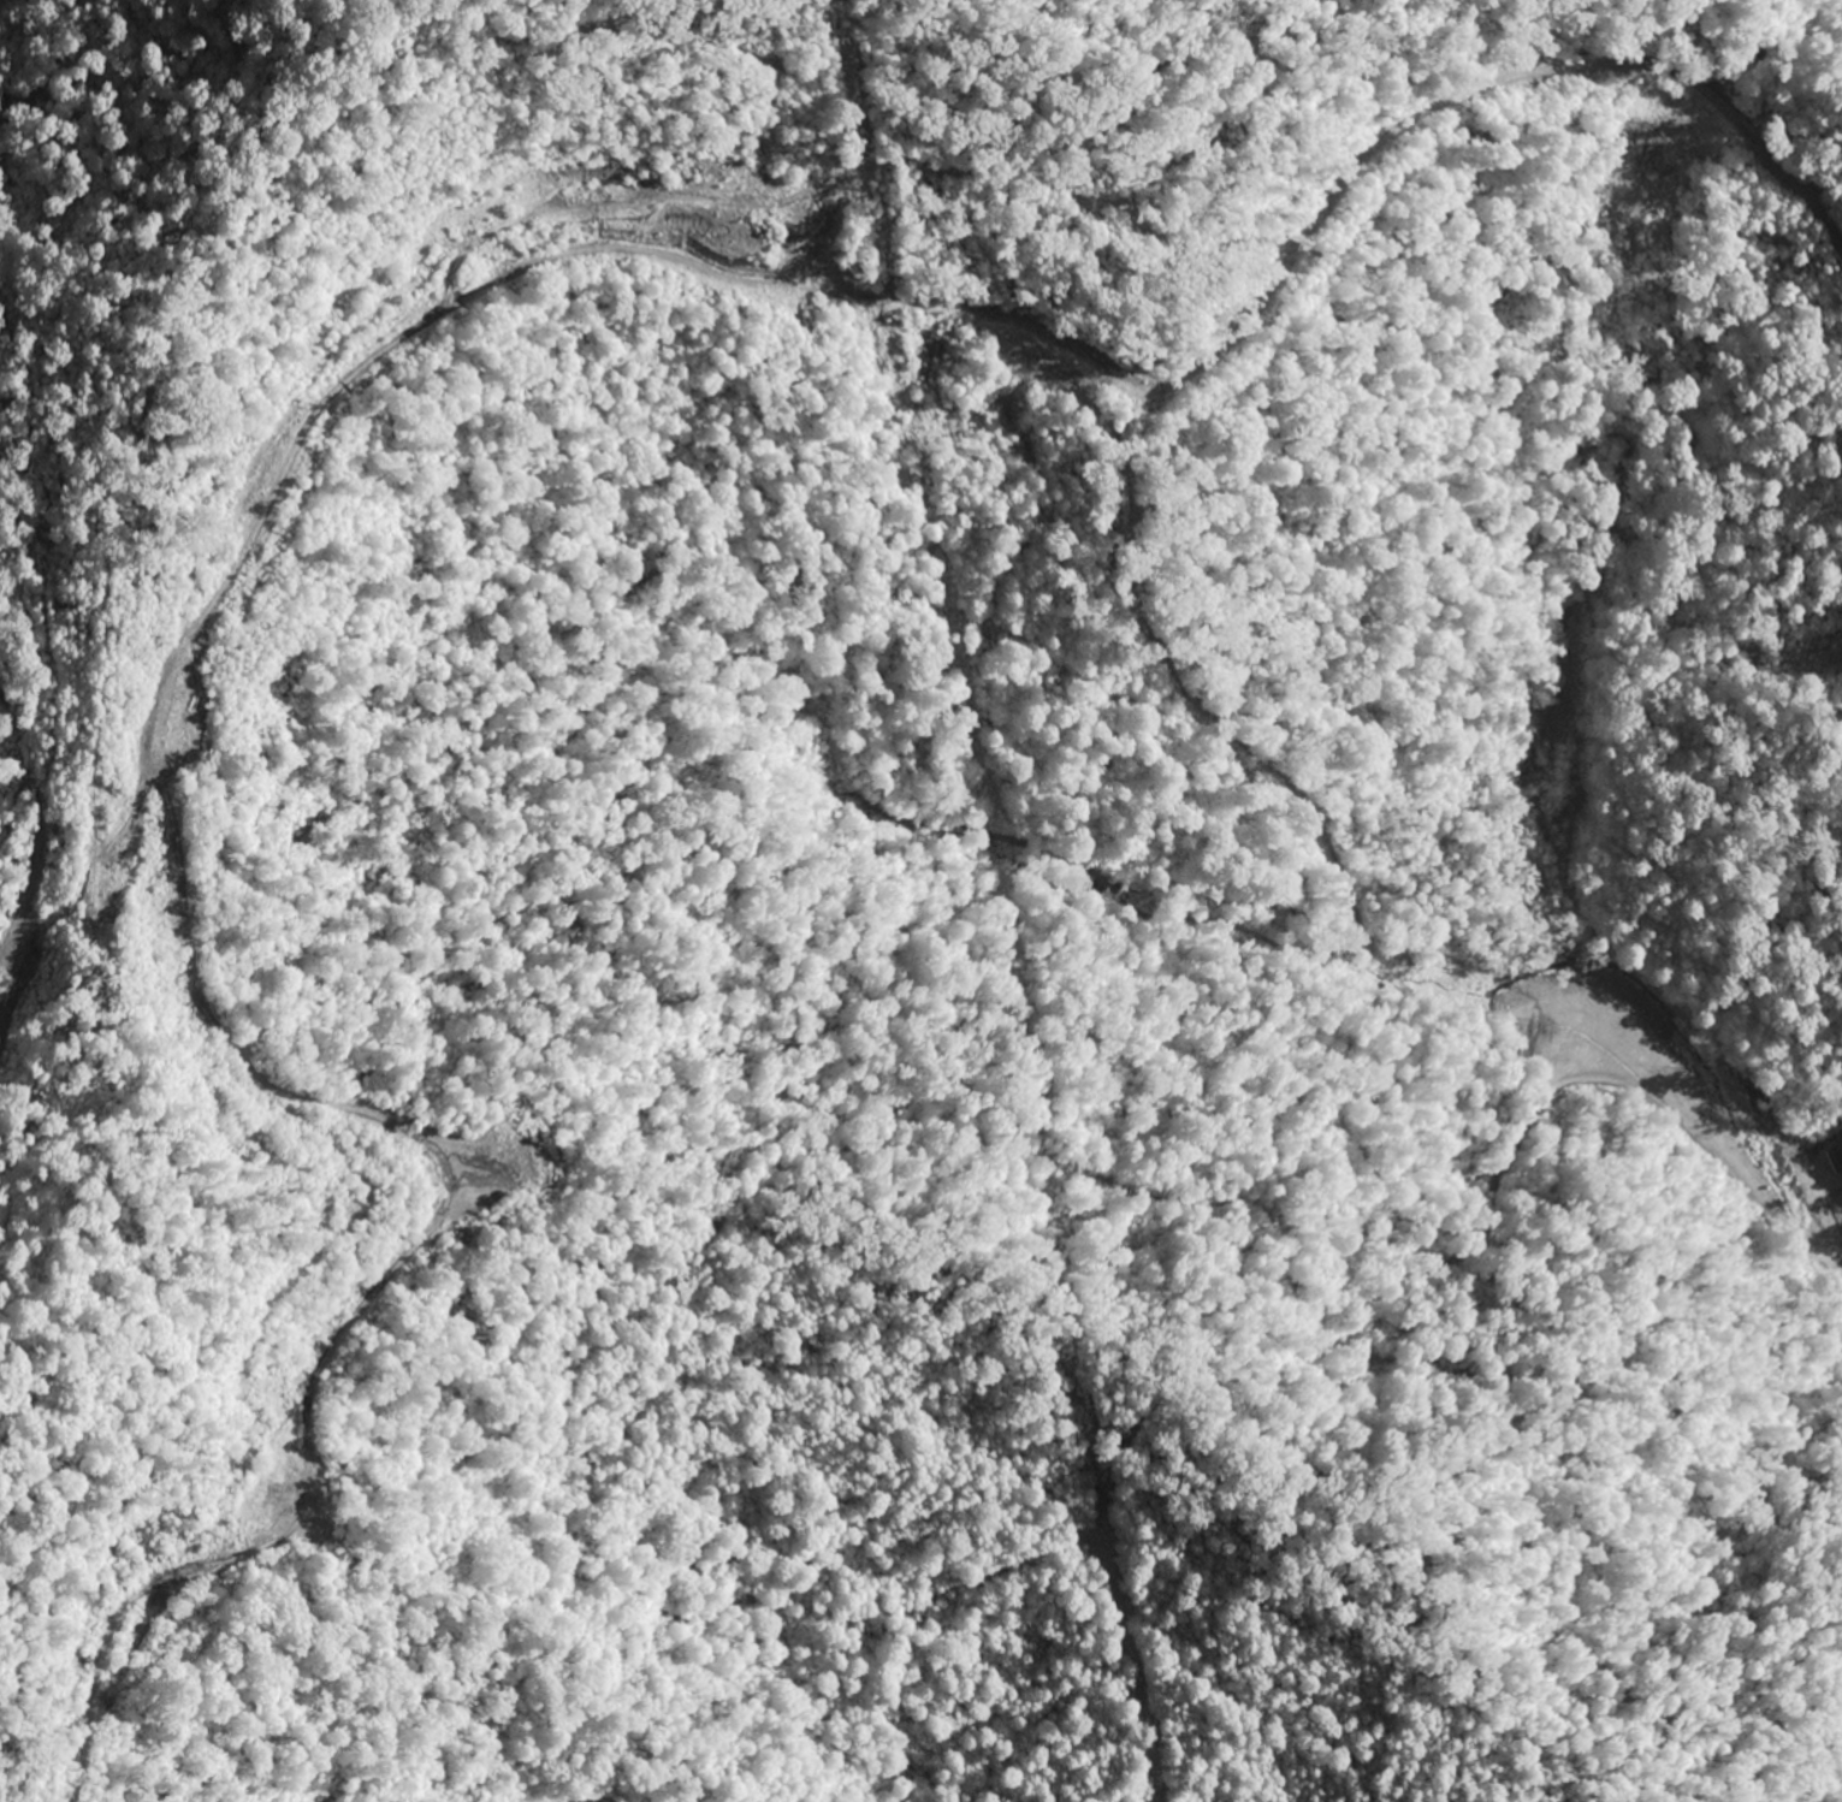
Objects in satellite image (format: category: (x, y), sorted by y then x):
road: (1832, 1226)

